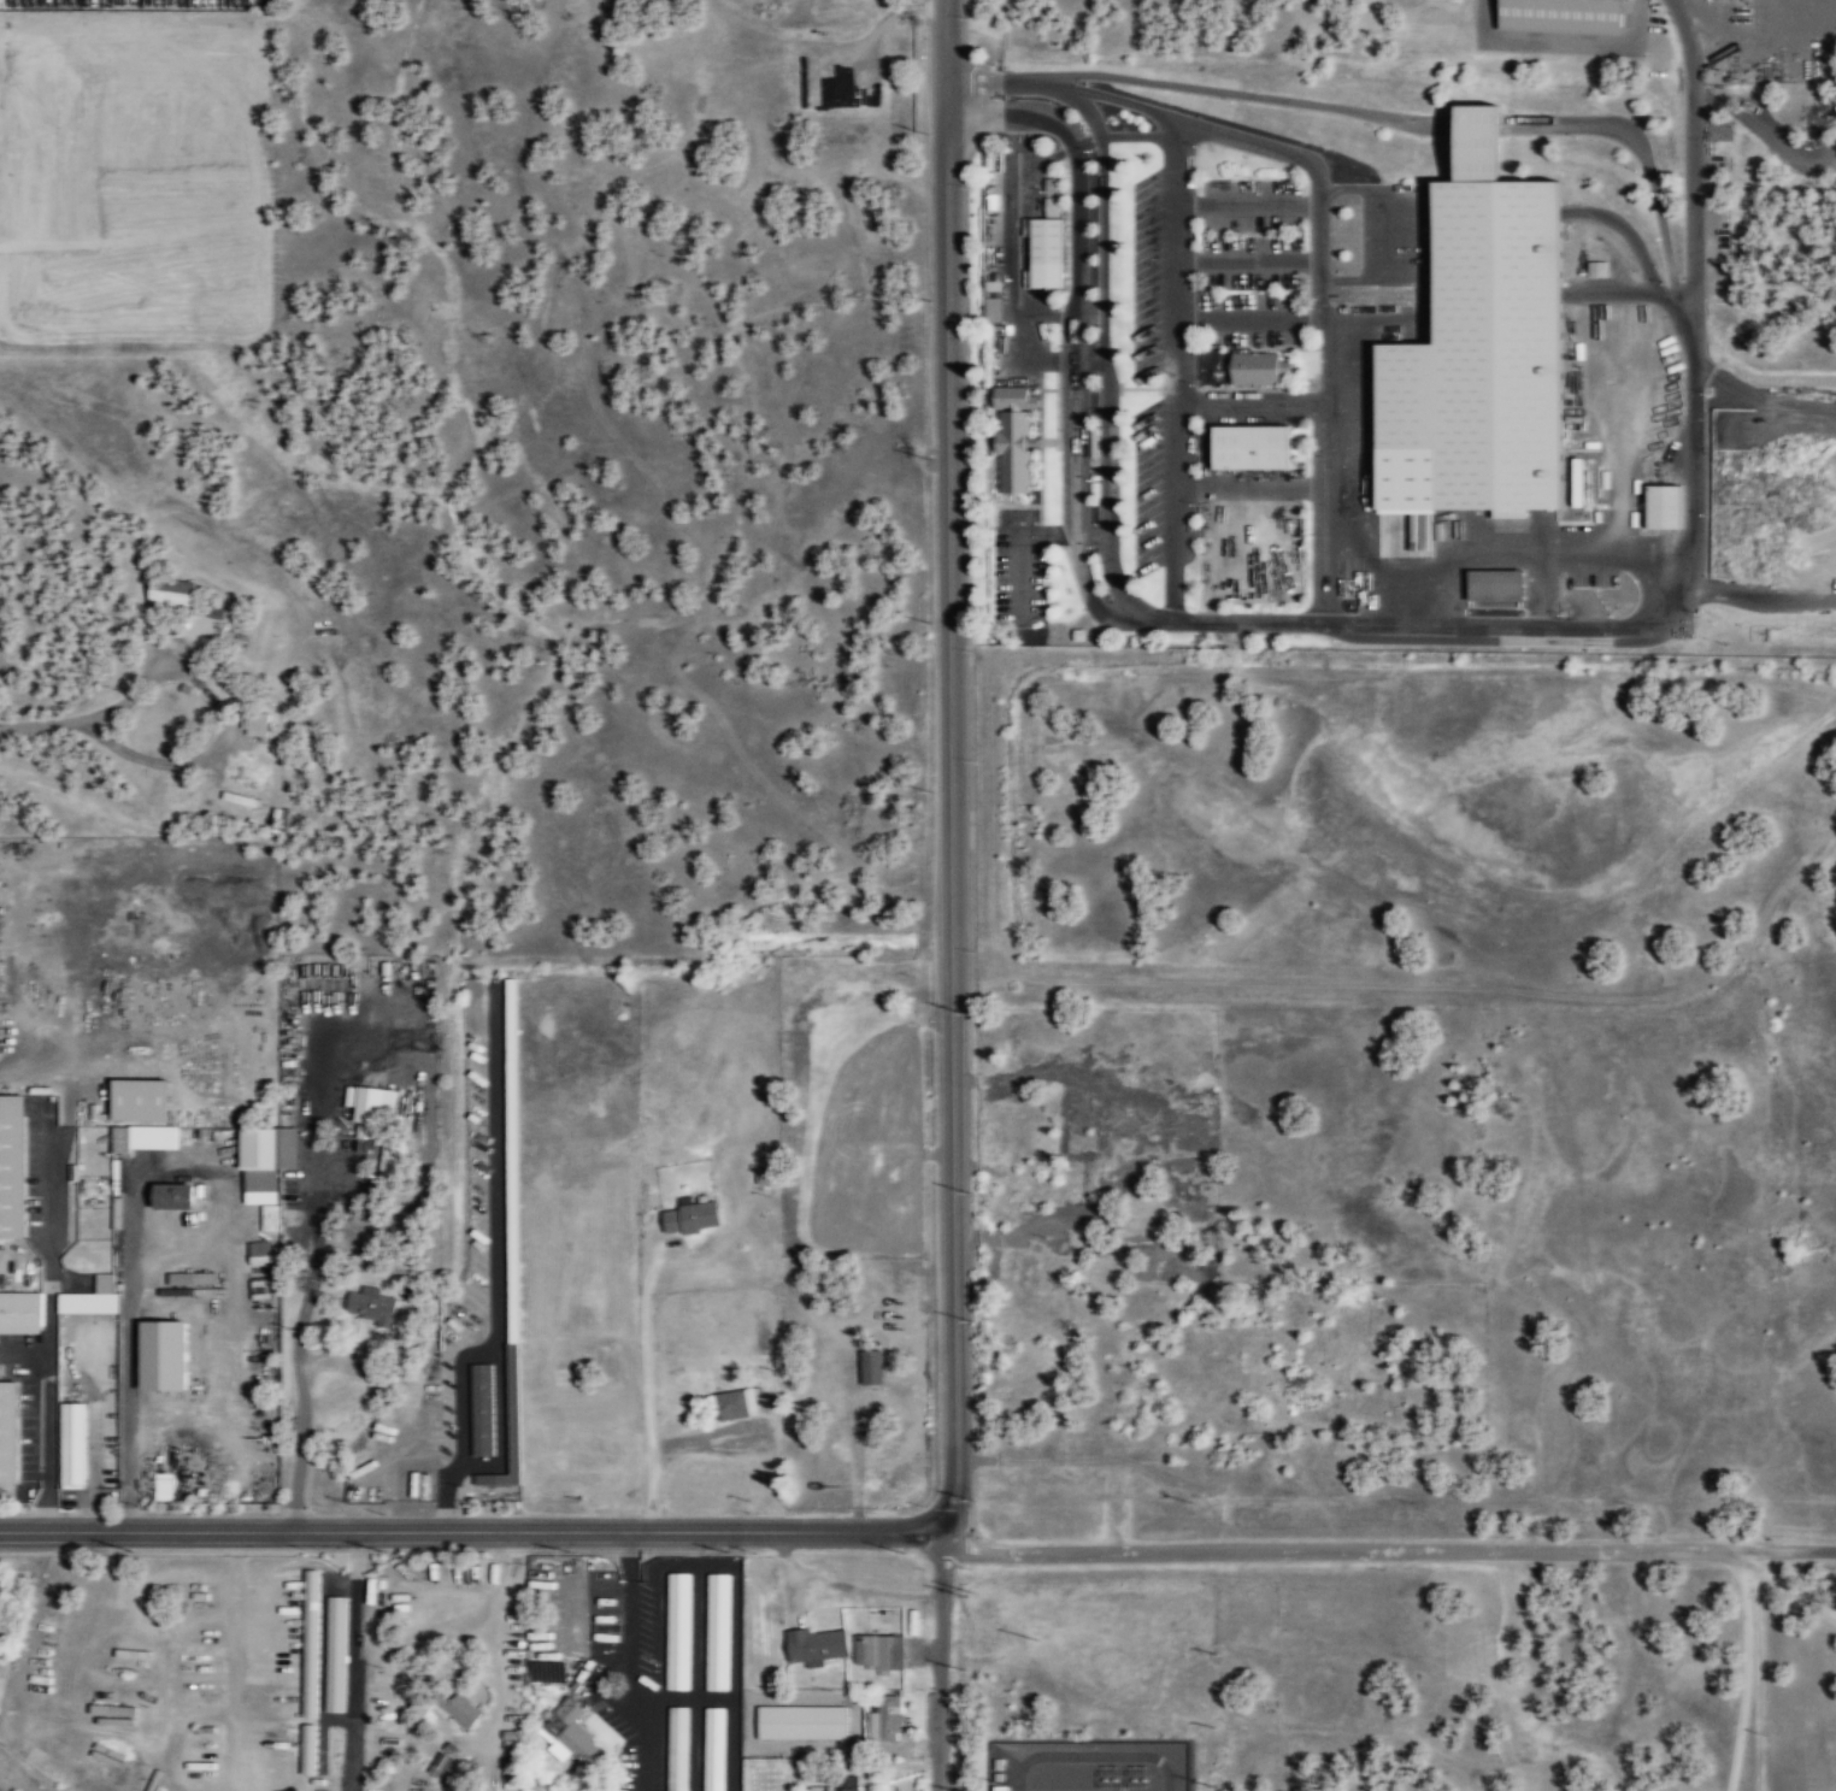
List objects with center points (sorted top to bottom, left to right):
building: (1559, 16)
road: (966, 42)
road: (1184, 122)
road: (1407, 122)
building: (1478, 139)
road: (1088, 142)
road: (1047, 157)
building: (1051, 206)
road: (1249, 207)
road: (1019, 217)
road: (1384, 232)
road: (1629, 232)
building: (1044, 251)
road: (1249, 261)
building: (1596, 269)
road: (1675, 289)
road: (1632, 295)
road: (1102, 299)
parking lot: (1205, 304)
building: (991, 310)
road: (1049, 316)
road: (1091, 316)
road: (1249, 319)
road: (1078, 338)
building: (1488, 348)
road: (1025, 363)
road: (1091, 363)
building: (1254, 366)
road: (1173, 369)
building: (1014, 396)
road: (1324, 400)
road: (1248, 403)
building: (1091, 440)
building: (1251, 446)
building: (1013, 449)
road: (1248, 484)
road: (1405, 489)
building: (1663, 507)
road: (1255, 528)
road: (1094, 535)
road: (1020, 546)
road: (1490, 556)
road: (1688, 560)
parking lot: (1019, 564)
building: (1494, 584)
building: (170, 595)
road: (228, 718)
building: (254, 721)
road: (47, 723)
road: (954, 766)
building: (140, 1101)
building: (371, 1109)
building: (269, 1153)
building: (392, 1157)
building: (12, 1167)
building: (171, 1197)
building: (689, 1216)
building: (269, 1219)
building: (259, 1251)
building: (89, 1298)
building: (371, 1306)
building: (20, 1312)
building: (161, 1356)
building: (870, 1367)
building: (888, 1401)
building: (734, 1404)
building: (481, 1409)
building: (8, 1432)
building: (71, 1445)
road: (475, 1530)
road: (1388, 1549)
power tower: (966, 1595)
building: (677, 1630)
building: (717, 1631)
building: (310, 1643)
building: (813, 1643)
building: (877, 1650)
building: (335, 1654)
road: (941, 1661)
road: (1758, 1669)
building: (460, 1709)
building: (883, 1719)
building: (801, 1721)
building: (569, 1734)
building: (676, 1748)
building: (713, 1748)
building: (307, 1749)
building: (439, 1763)
power substation: (1090, 1766)
building: (845, 1781)

